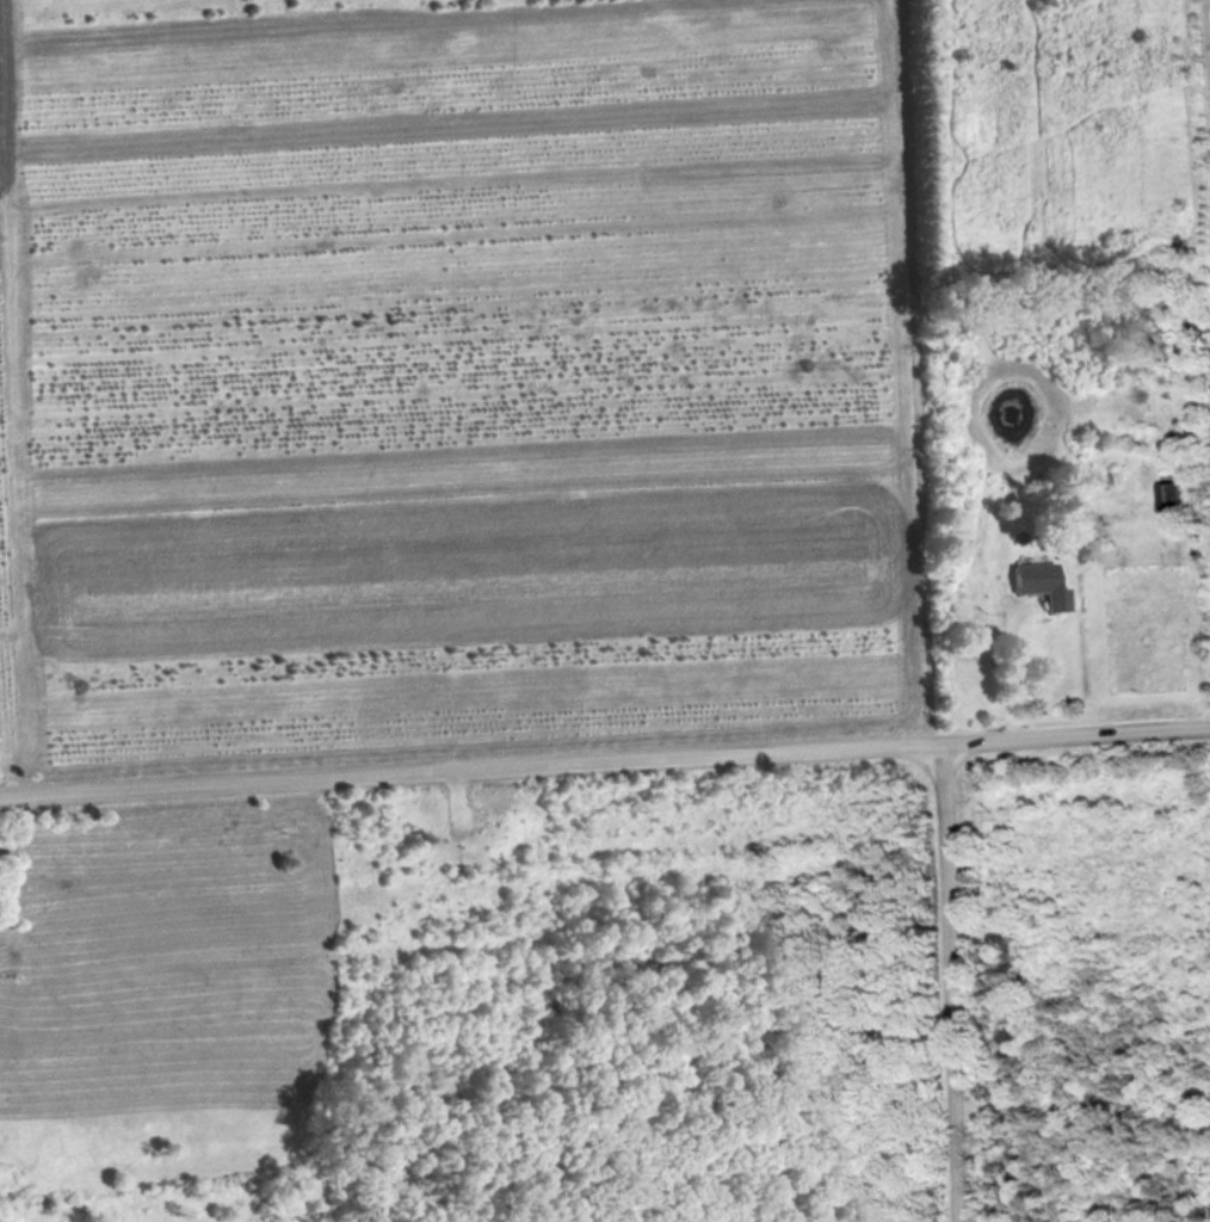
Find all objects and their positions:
building: (1171, 489)
building: (1043, 582)
road: (1005, 665)
road: (604, 755)
road: (453, 789)
parking lot: (457, 810)
road: (945, 979)

